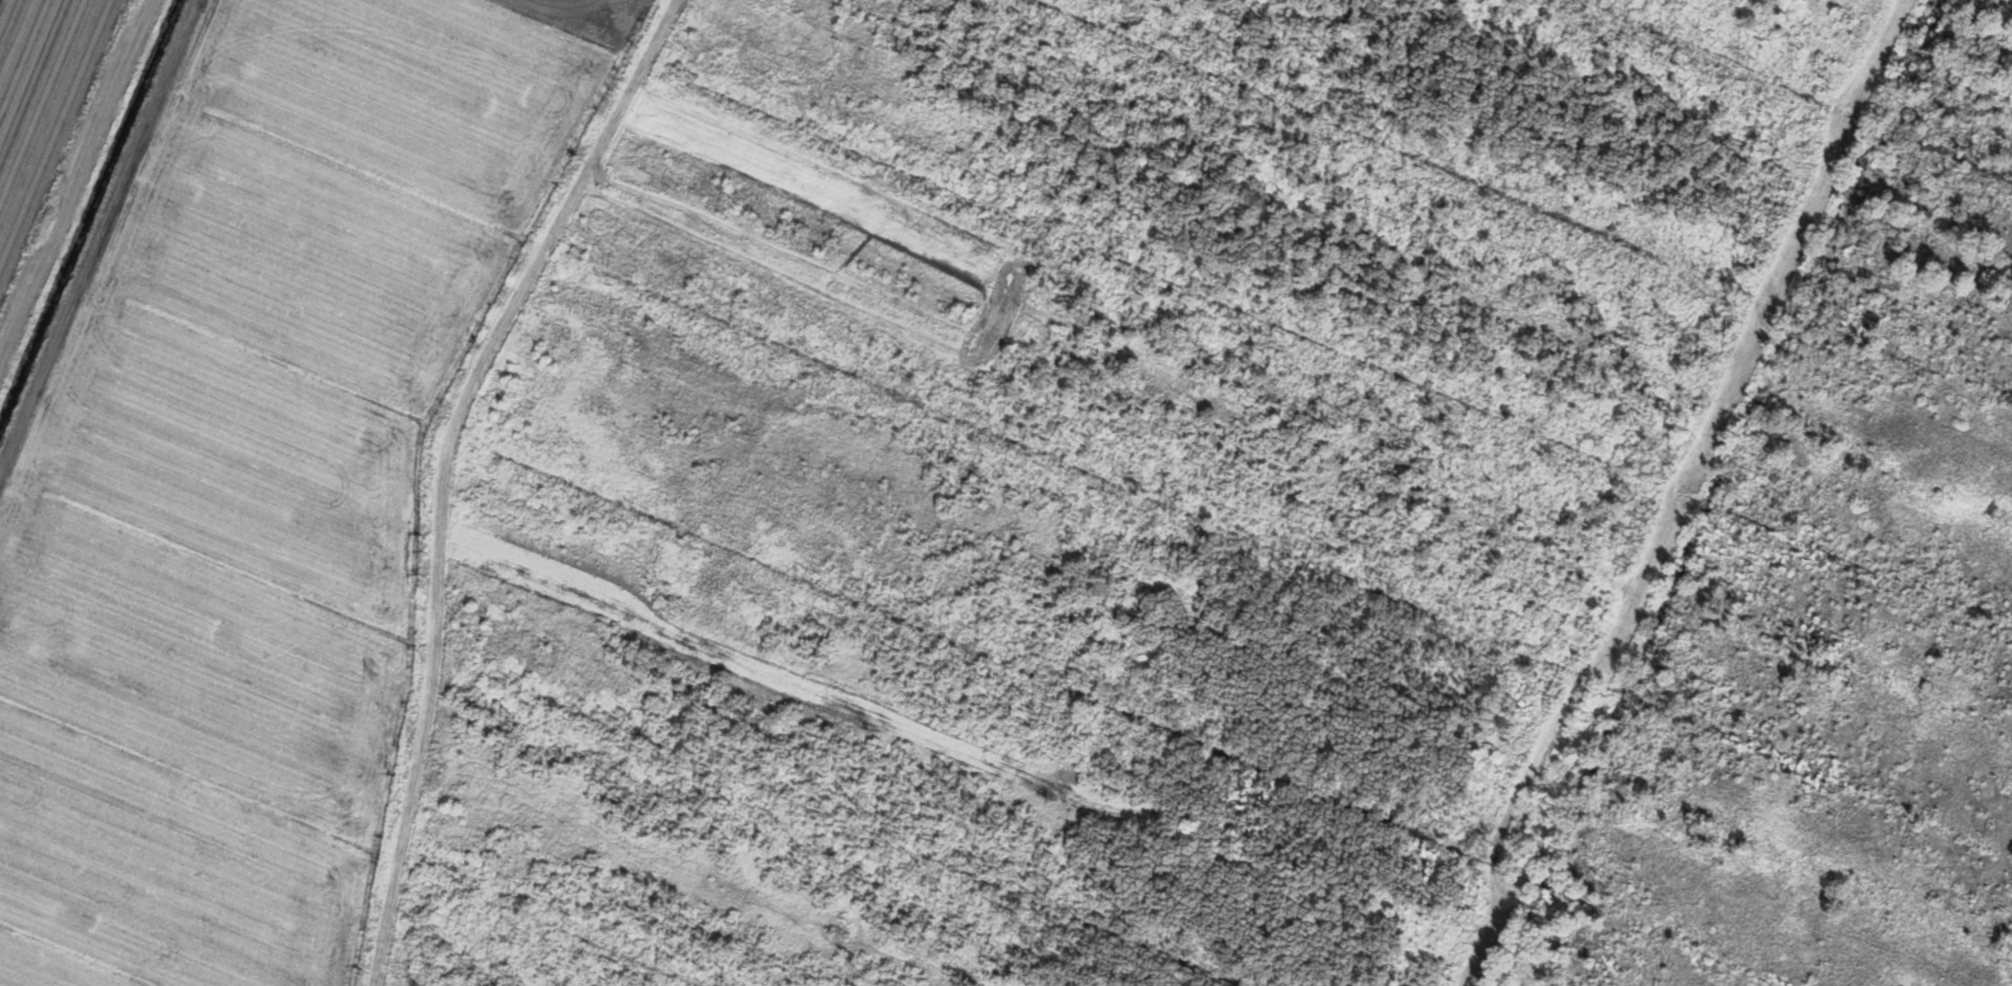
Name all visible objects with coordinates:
road: (71, 169)
crop: (234, 443)
road: (1687, 493)

